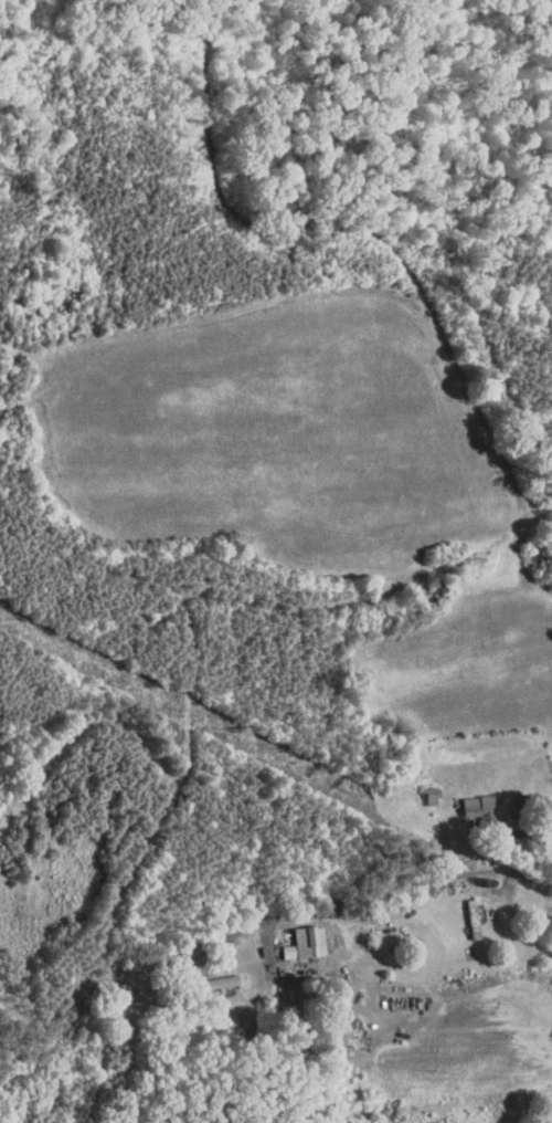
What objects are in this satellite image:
building: (418, 787)
building: (466, 800)
road: (393, 885)
building: (296, 933)
building: (203, 975)

